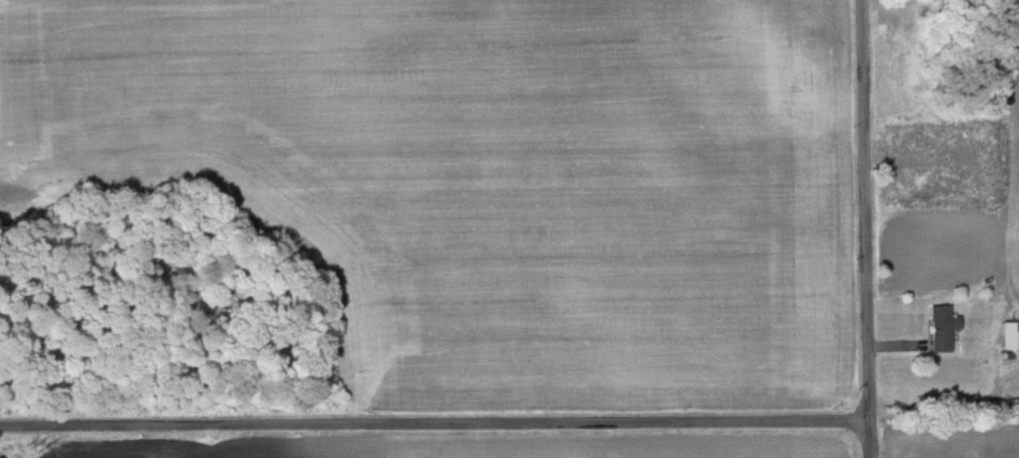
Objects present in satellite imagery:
road: (868, 228)
building: (941, 328)
building: (1009, 335)
road: (435, 424)

